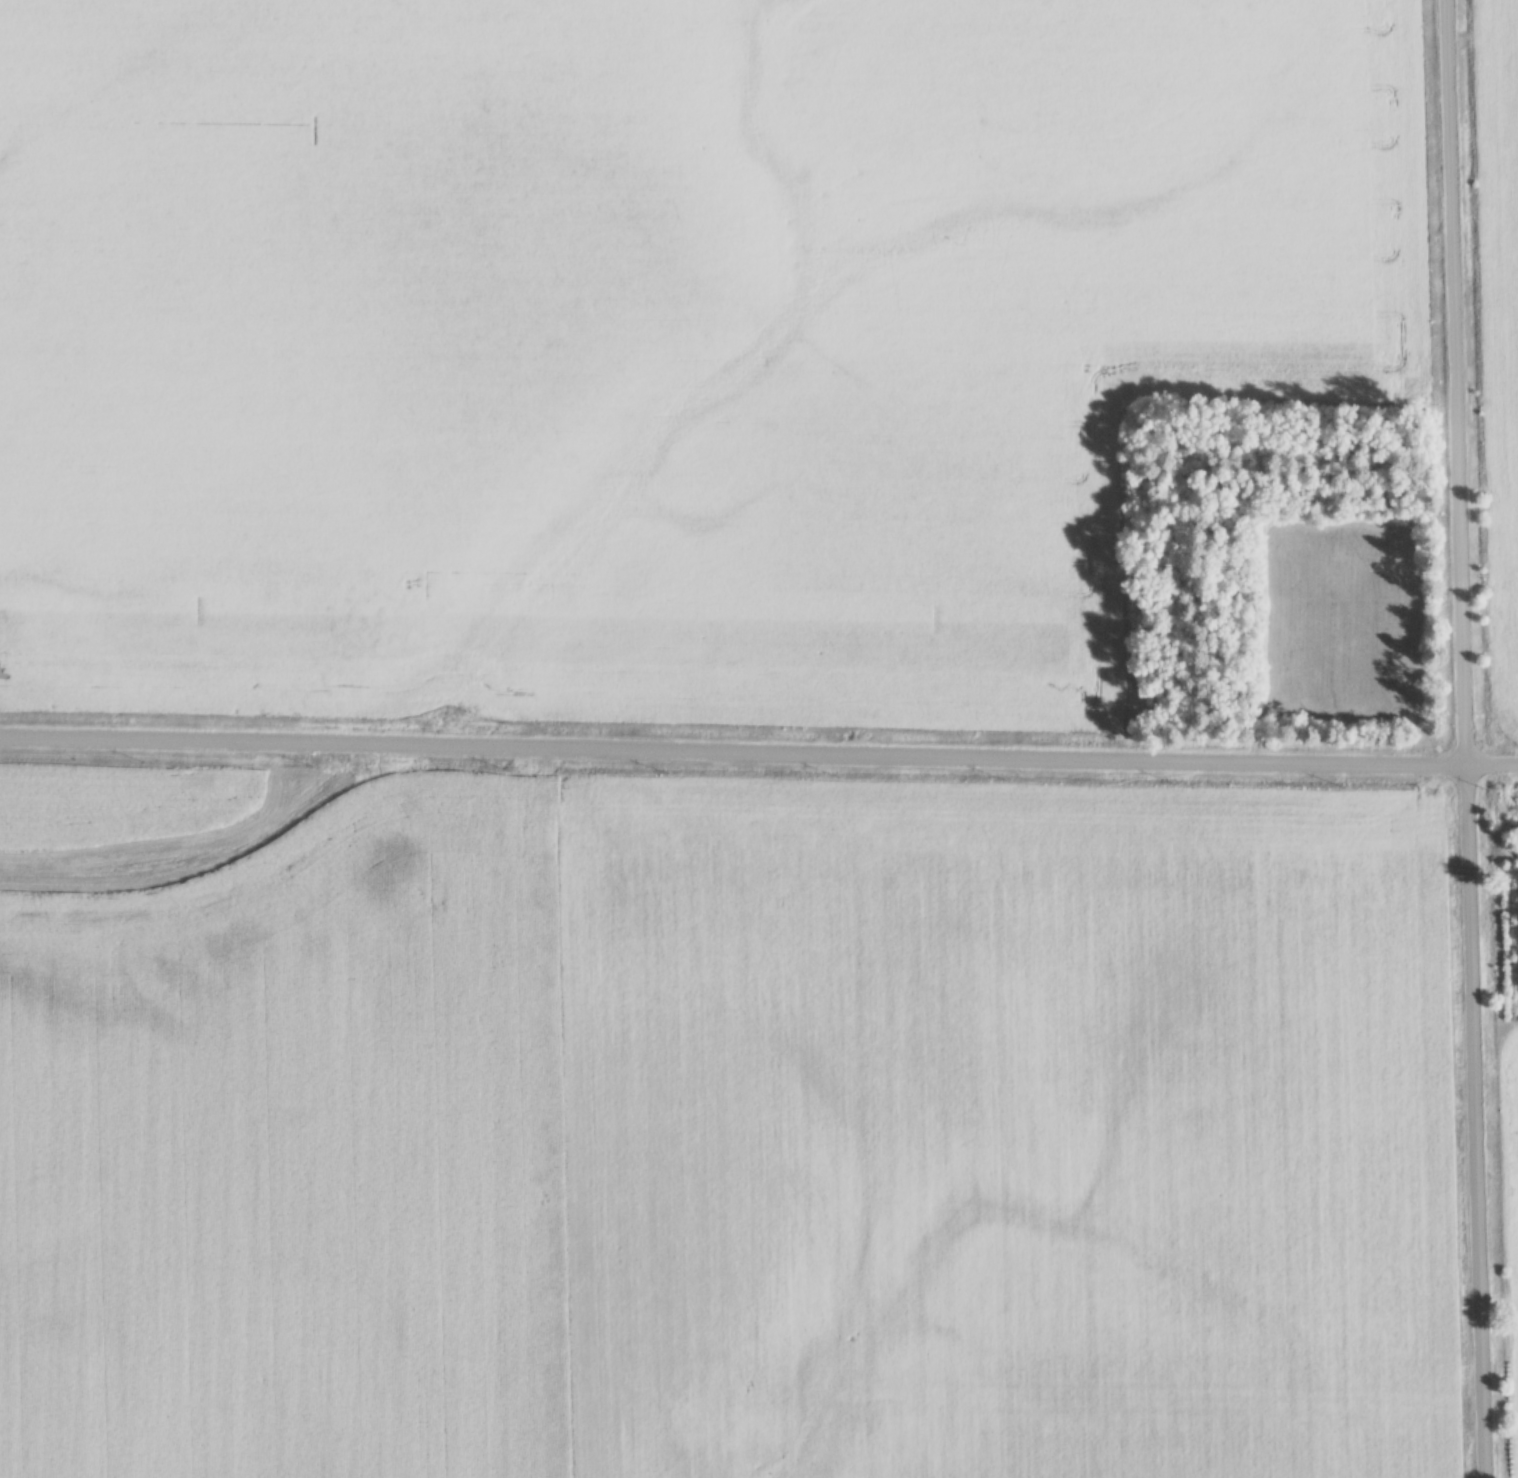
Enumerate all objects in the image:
road: (1465, 739)
road: (758, 753)

